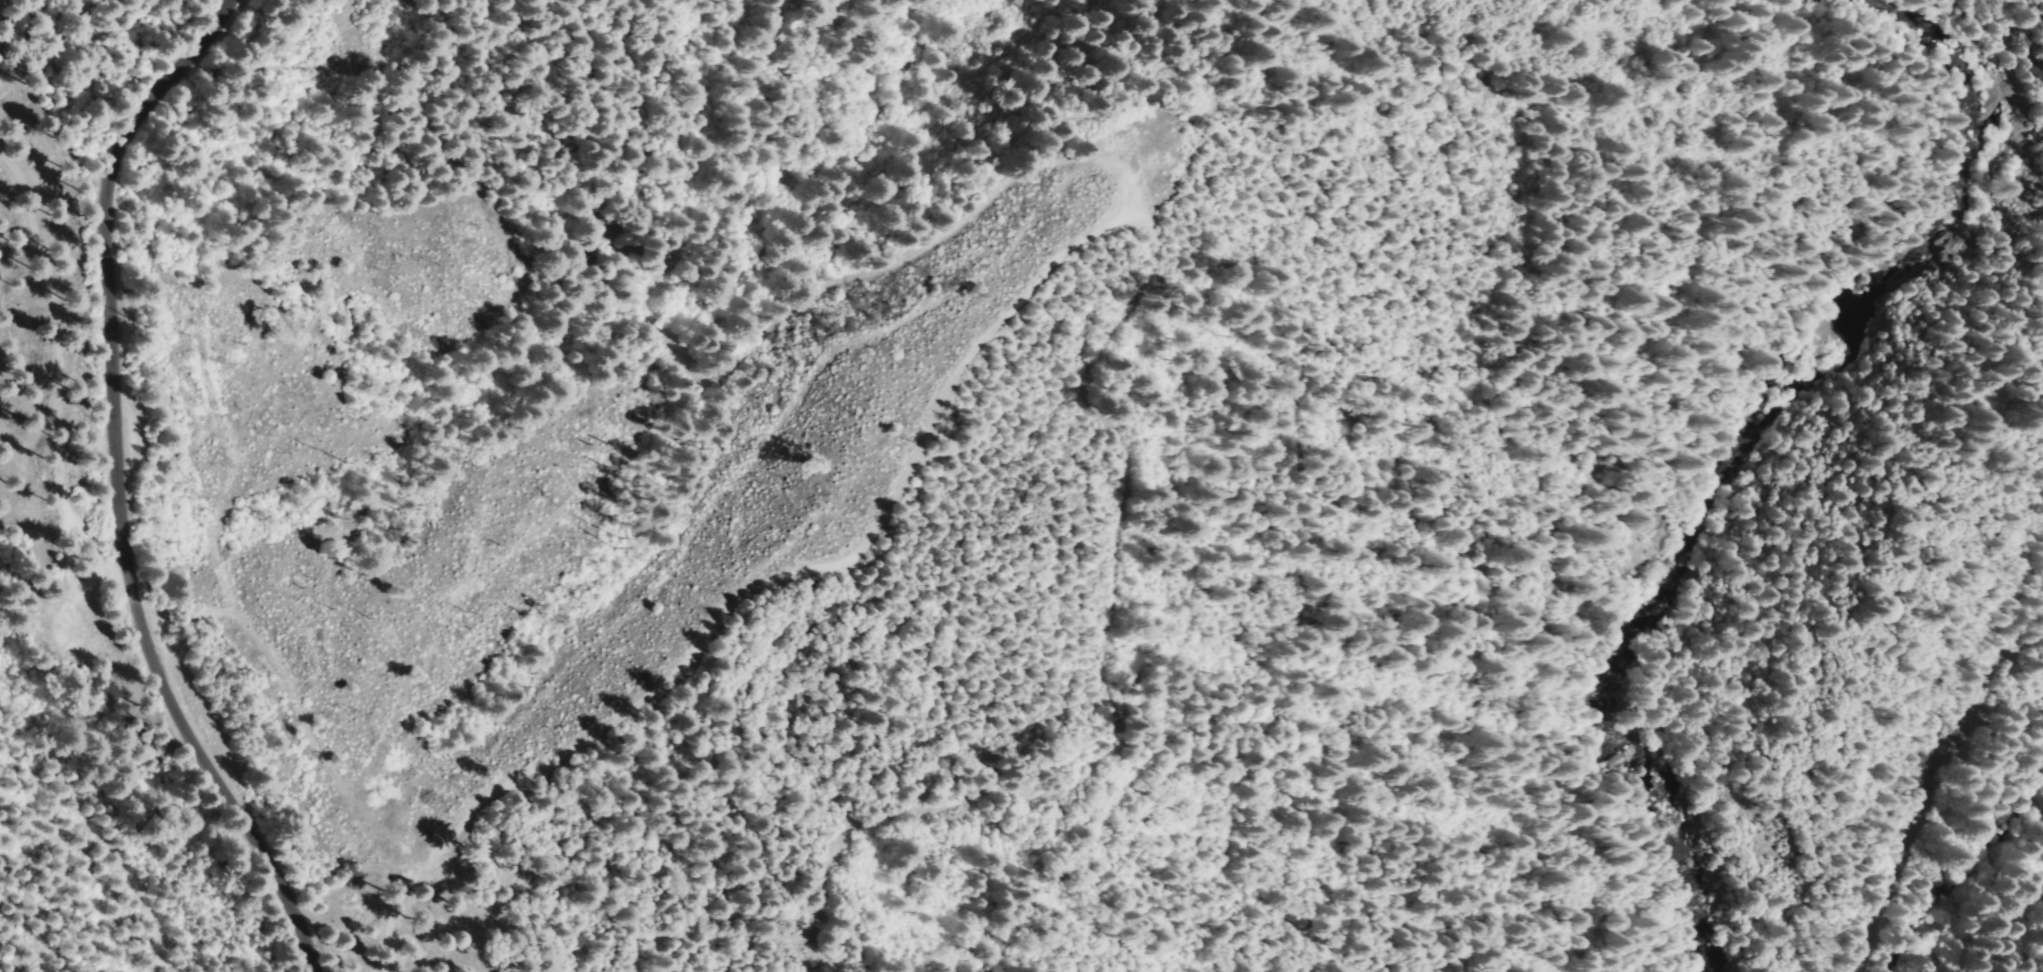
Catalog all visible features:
river: (1721, 436)
road: (118, 485)
road: (1902, 745)
road: (843, 851)

